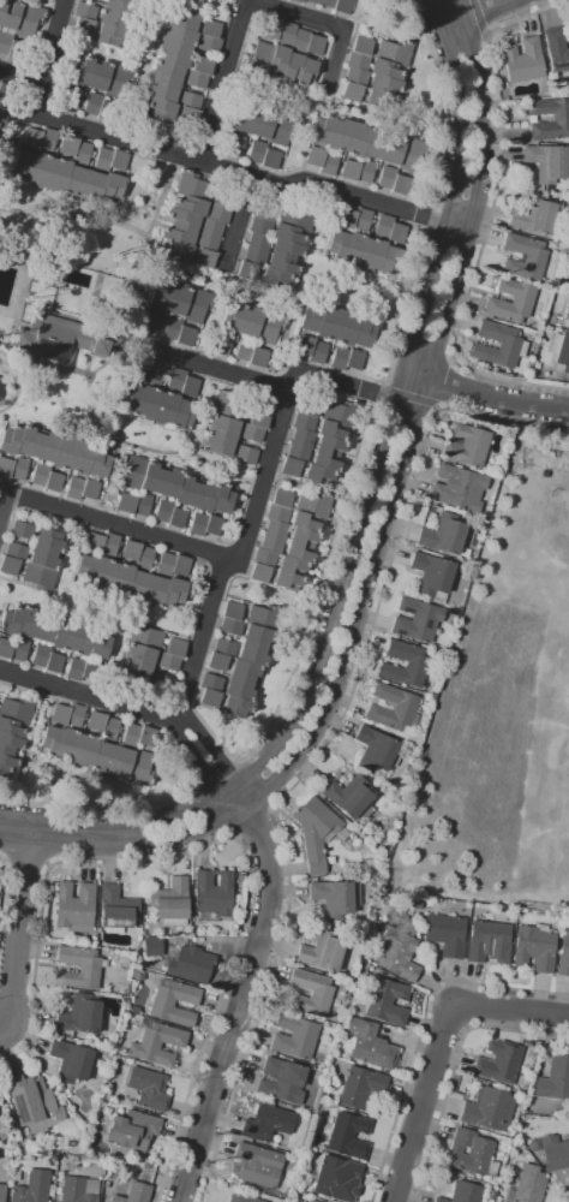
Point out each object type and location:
building: (98, 0)
building: (210, 0)
building: (333, 5)
road: (474, 14)
building: (20, 17)
building: (84, 18)
building: (185, 20)
building: (114, 22)
road: (323, 22)
building: (210, 29)
building: (293, 36)
building: (179, 37)
building: (210, 44)
building: (11, 47)
building: (557, 48)
building: (174, 55)
building: (523, 59)
building: (280, 64)
building: (203, 65)
building: (376, 71)
building: (167, 73)
road: (19, 77)
building: (196, 78)
road: (222, 81)
building: (101, 84)
building: (162, 90)
building: (4, 91)
building: (71, 96)
building: (190, 100)
road: (335, 106)
building: (161, 108)
building: (4, 115)
building: (187, 117)
building: (561, 118)
building: (245, 119)
building: (263, 124)
building: (282, 129)
building: (322, 130)
building: (340, 135)
building: (31, 138)
building: (375, 143)
building: (68, 145)
building: (235, 145)
road: (10, 149)
building: (393, 149)
building: (354, 150)
building: (257, 151)
building: (82, 153)
building: (411, 154)
building: (315, 156)
building: (42, 159)
building: (102, 159)
road: (191, 159)
building: (270, 159)
building: (118, 160)
building: (546, 162)
building: (329, 163)
building: (23, 165)
building: (365, 171)
building: (58, 175)
building: (387, 177)
building: (76, 180)
building: (94, 184)
building: (400, 185)
building: (112, 186)
building: (193, 186)
building: (222, 198)
building: (191, 206)
building: (265, 210)
building: (218, 213)
building: (534, 215)
road: (240, 218)
building: (297, 218)
building: (346, 218)
building: (184, 219)
building: (361, 219)
road: (489, 221)
building: (260, 226)
building: (383, 226)
building: (211, 227)
building: (397, 233)
building: (180, 234)
building: (288, 234)
building: (206, 242)
building: (259, 242)
building: (337, 244)
road: (149, 248)
building: (287, 249)
building: (178, 250)
building: (355, 250)
building: (372, 255)
building: (254, 256)
building: (523, 257)
building: (205, 258)
building: (390, 260)
building: (282, 264)
building: (247, 270)
building: (275, 276)
road: (298, 280)
building: (160, 294)
building: (178, 300)
building: (510, 300)
building: (197, 304)
building: (233, 316)
building: (311, 317)
building: (567, 317)
building: (251, 321)
building: (150, 322)
building: (328, 323)
building: (346, 326)
building: (270, 327)
building: (172, 328)
building: (364, 332)
building: (185, 335)
building: (58, 339)
building: (222, 343)
building: (304, 344)
building: (498, 344)
building: (244, 350)
building: (561, 350)
building: (318, 352)
building: (258, 357)
building: (339, 358)
building: (354, 359)
road: (449, 361)
road: (217, 369)
building: (139, 371)
road: (10, 373)
building: (155, 373)
road: (118, 375)
building: (175, 379)
road: (439, 383)
building: (190, 386)
road: (383, 394)
road: (485, 395)
road: (408, 397)
building: (130, 399)
road: (11, 403)
building: (148, 403)
road: (436, 405)
building: (229, 406)
building: (309, 406)
building: (166, 409)
building: (341, 413)
building: (182, 415)
building: (259, 418)
building: (304, 422)
building: (223, 427)
building: (331, 430)
building: (252, 433)
building: (10, 440)
building: (28, 441)
building: (218, 444)
building: (300, 445)
building: (465, 445)
building: (46, 446)
building: (330, 446)
building: (64, 452)
building: (246, 454)
building: (82, 458)
building: (325, 460)
building: (98, 463)
building: (291, 466)
building: (5, 468)
building: (19, 469)
building: (133, 470)
building: (543, 472)
building: (40, 475)
building: (318, 475)
building: (151, 477)
building: (54, 482)
road: (108, 482)
building: (169, 482)
building: (74, 488)
building: (459, 488)
road: (4, 489)
building: (90, 489)
building: (186, 490)
road: (259, 493)
building: (204, 495)
building: (282, 498)
building: (222, 499)
building: (126, 502)
road: (4, 505)
building: (143, 505)
building: (313, 505)
building: (163, 511)
building: (277, 513)
building: (178, 518)
road: (358, 520)
building: (305, 522)
road: (116, 524)
building: (198, 524)
building: (214, 525)
building: (23, 530)
building: (443, 534)
building: (275, 536)
building: (304, 537)
building: (48, 540)
road: (378, 541)
building: (94, 543)
building: (109, 545)
building: (131, 551)
building: (17, 552)
building: (299, 552)
building: (44, 558)
building: (144, 558)
building: (264, 558)
building: (166, 564)
building: (181, 565)
building: (10, 566)
building: (292, 566)
building: (85, 571)
building: (260, 573)
building: (103, 575)
building: (432, 576)
building: (40, 577)
building: (120, 581)
building: (288, 581)
building: (138, 587)
building: (156, 591)
building: (174, 593)
building: (232, 611)
building: (264, 617)
building: (11, 620)
building: (417, 620)
building: (29, 623)
building: (230, 626)
building: (47, 629)
building: (64, 635)
building: (145, 635)
building: (258, 636)
building: (82, 639)
building: (98, 644)
building: (176, 647)
building: (6, 648)
building: (224, 648)
building: (19, 649)
building: (253, 654)
building: (140, 655)
building: (41, 656)
building: (168, 661)
building: (217, 661)
building: (54, 664)
building: (417, 666)
building: (74, 668)
building: (89, 671)
building: (245, 671)
building: (136, 672)
building: (211, 683)
building: (162, 684)
building: (240, 689)
building: (210, 698)
road: (128, 707)
building: (236, 707)
building: (393, 708)
building: (17, 710)
building: (60, 714)
building: (76, 715)
park: (532, 715)
building: (96, 720)
building: (11, 728)
building: (109, 728)
building: (131, 734)
building: (146, 737)
building: (50, 740)
building: (10, 744)
road: (325, 744)
building: (68, 745)
road: (26, 750)
building: (377, 750)
building: (86, 751)
building: (103, 757)
building: (8, 760)
building: (121, 762)
building: (140, 768)
road: (215, 770)
building: (5, 772)
road: (266, 775)
building: (349, 797)
road: (102, 801)
road: (210, 811)
road: (256, 831)
building: (316, 832)
road: (223, 840)
building: (330, 859)
road: (25, 863)
road: (2, 881)
building: (212, 895)
building: (335, 898)
building: (170, 903)
building: (74, 906)
building: (116, 908)
road: (19, 926)
building: (445, 934)
building: (489, 942)
building: (152, 947)
building: (399, 947)
building: (534, 948)
building: (322, 952)
building: (564, 953)
building: (190, 964)
building: (89, 968)
building: (138, 975)
road: (242, 992)
building: (311, 993)
building: (163, 1001)
building: (387, 1001)
road: (510, 1010)
building: (79, 1014)
road: (421, 1027)
building: (294, 1037)
building: (156, 1042)
building: (526, 1043)
building: (370, 1045)
building: (71, 1061)
building: (499, 1061)
road: (454, 1066)
building: (553, 1079)
building: (281, 1081)
building: (523, 1083)
building: (58, 1087)
building: (360, 1087)
building: (148, 1088)
building: (31, 1100)
road: (423, 1102)
building: (485, 1108)
building: (0, 1121)
building: (266, 1123)
building: (132, 1130)
building: (348, 1136)
building: (471, 1153)
building: (555, 1153)
building: (257, 1165)
building: (145, 1166)
building: (16, 1173)
building: (337, 1179)
building: (526, 1185)
building: (32, 1188)
building: (78, 1189)
building: (2, 1192)
building: (463, 1192)
building: (134, 1194)
building: (269, 1196)
building: (241, 1198)
building: (274, 1200)
building: (312, 1201)
building: (324, 1201)

